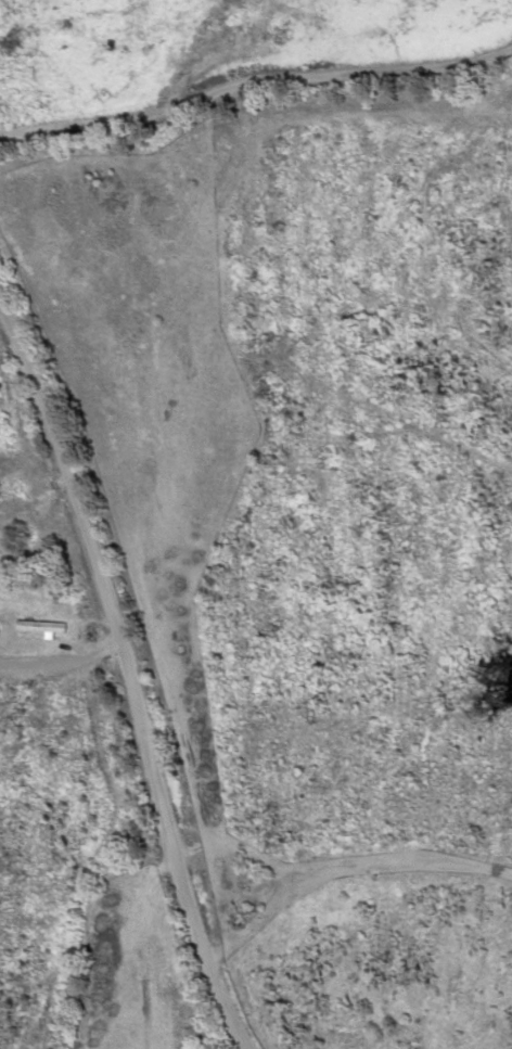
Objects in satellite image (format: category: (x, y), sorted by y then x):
road: (255, 84)
road: (132, 669)

